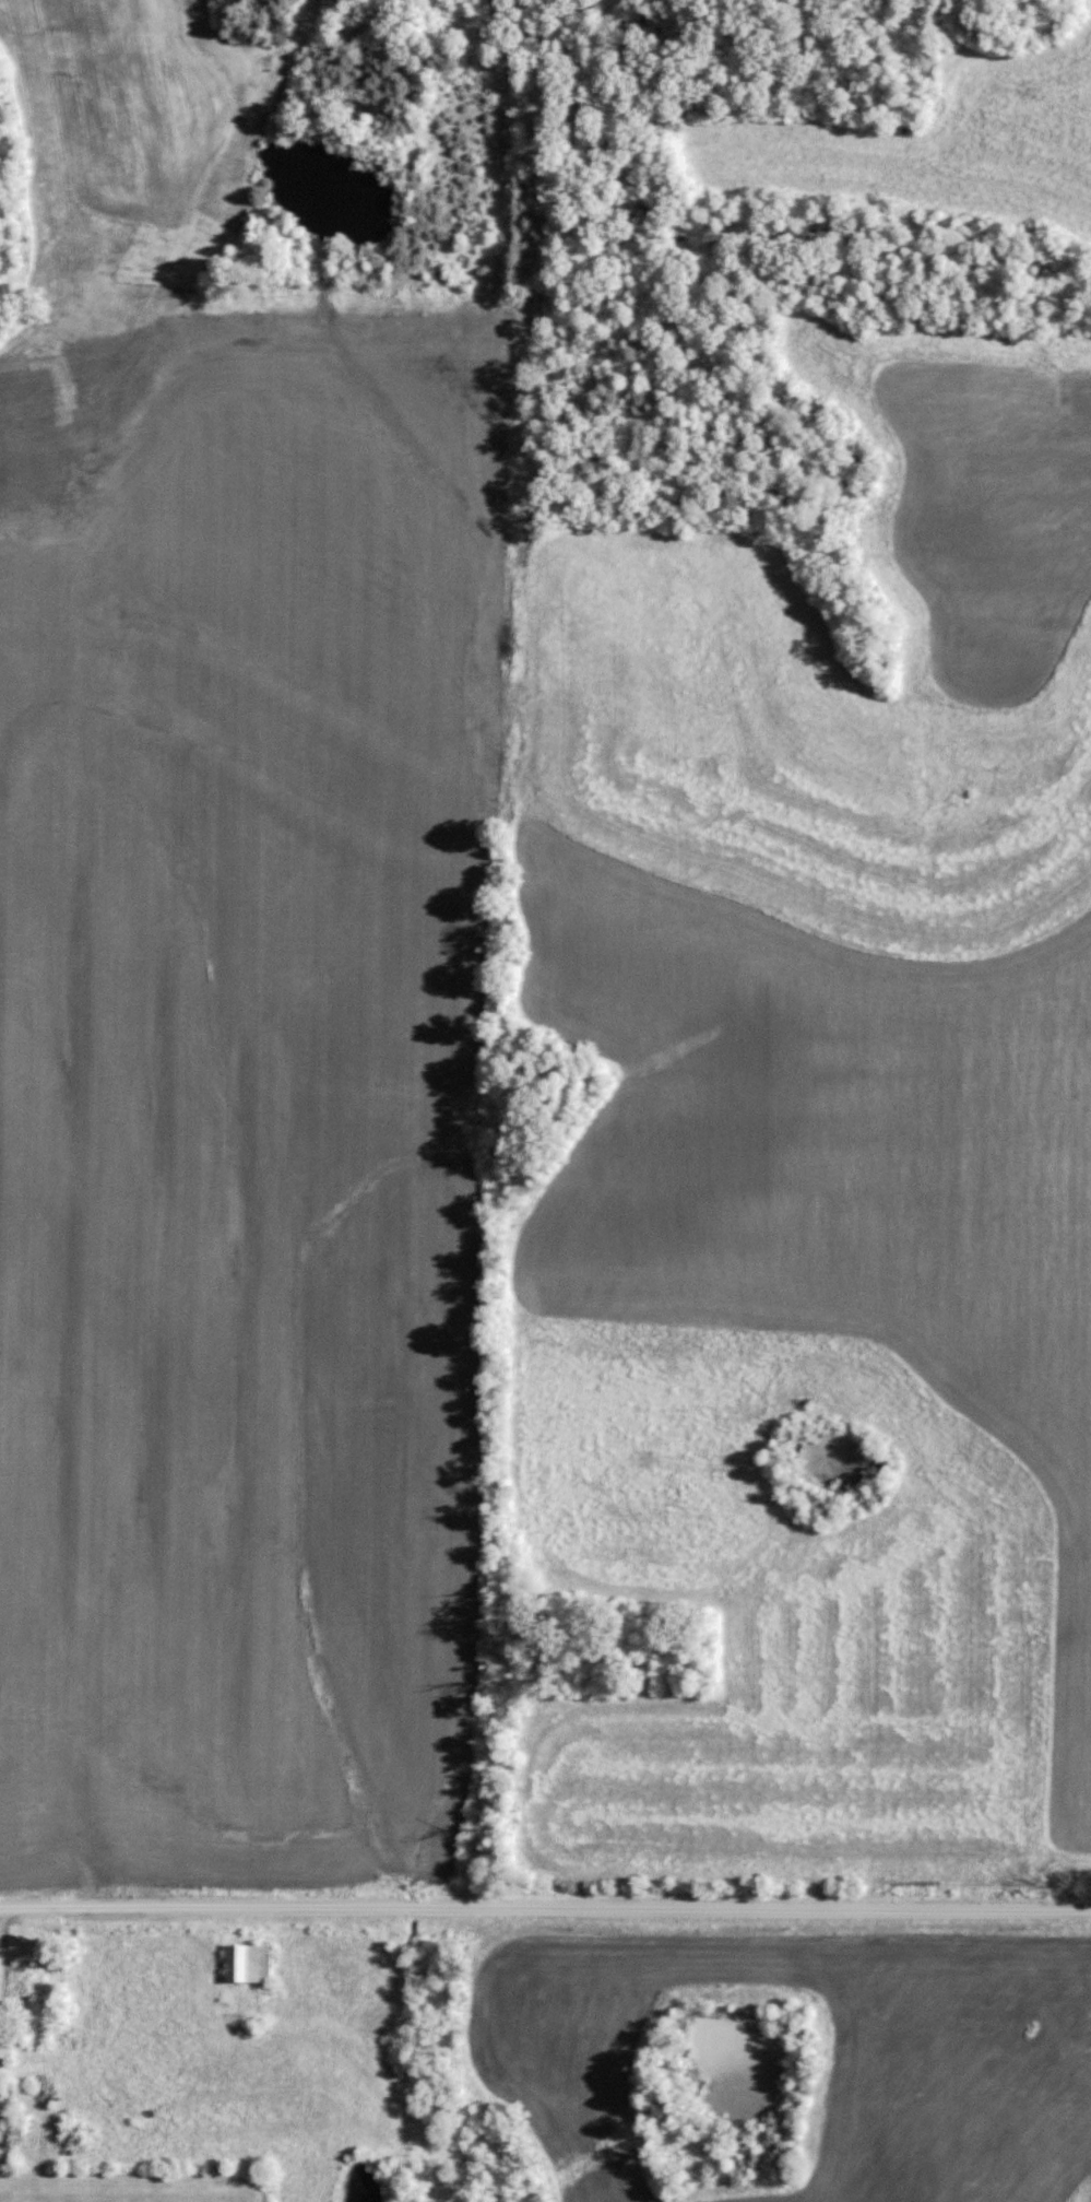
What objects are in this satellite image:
road: (545, 1906)
building: (246, 1962)

